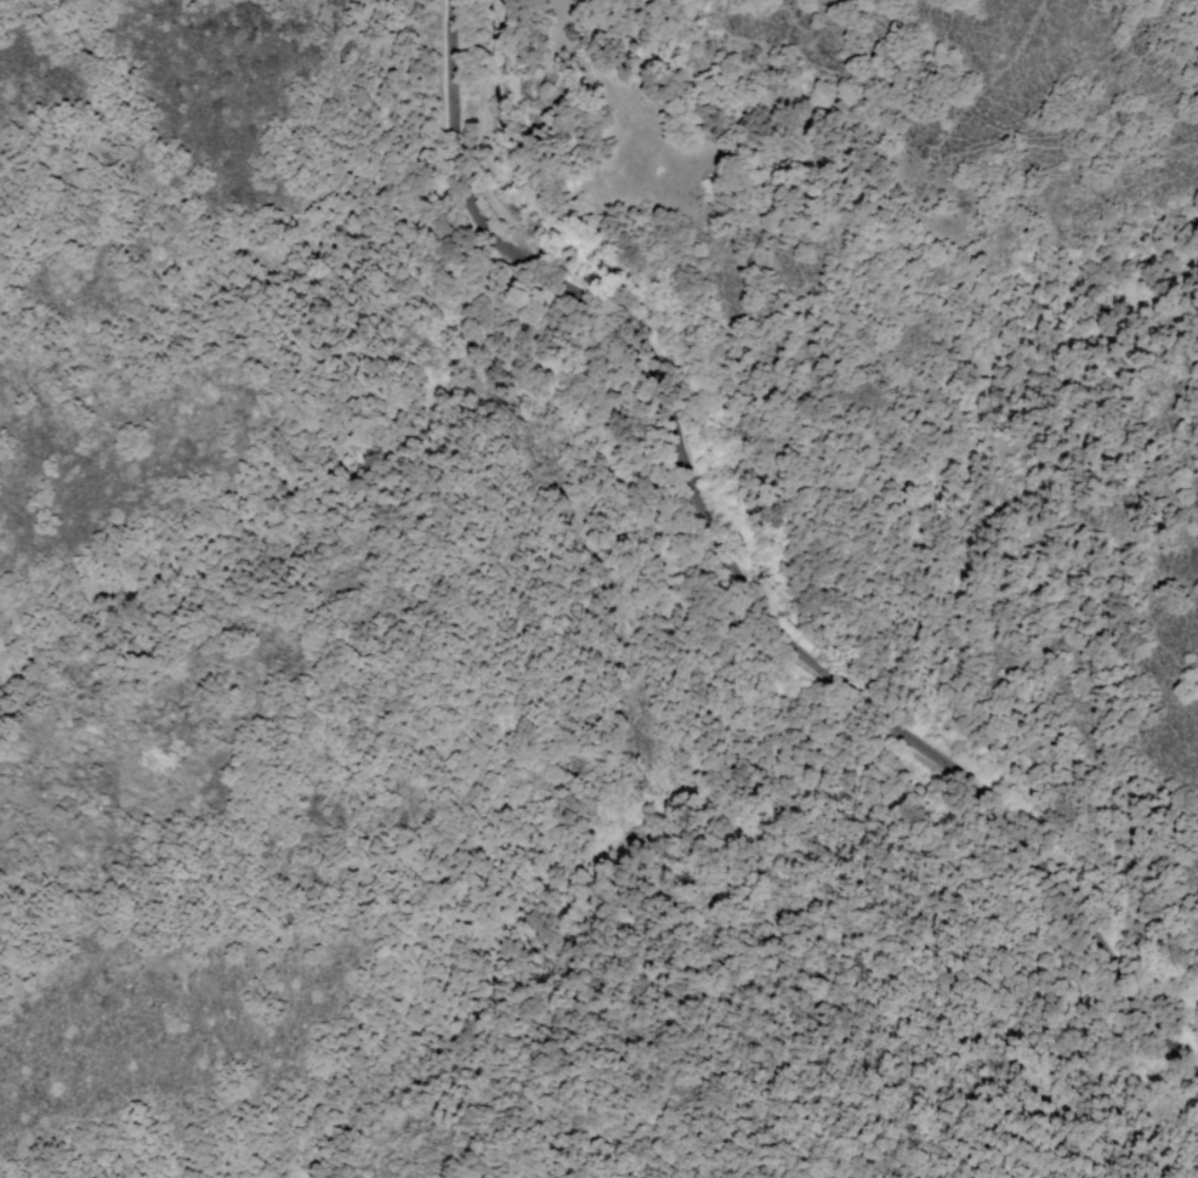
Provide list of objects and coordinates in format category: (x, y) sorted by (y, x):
road: (494, 97)
road: (732, 595)

